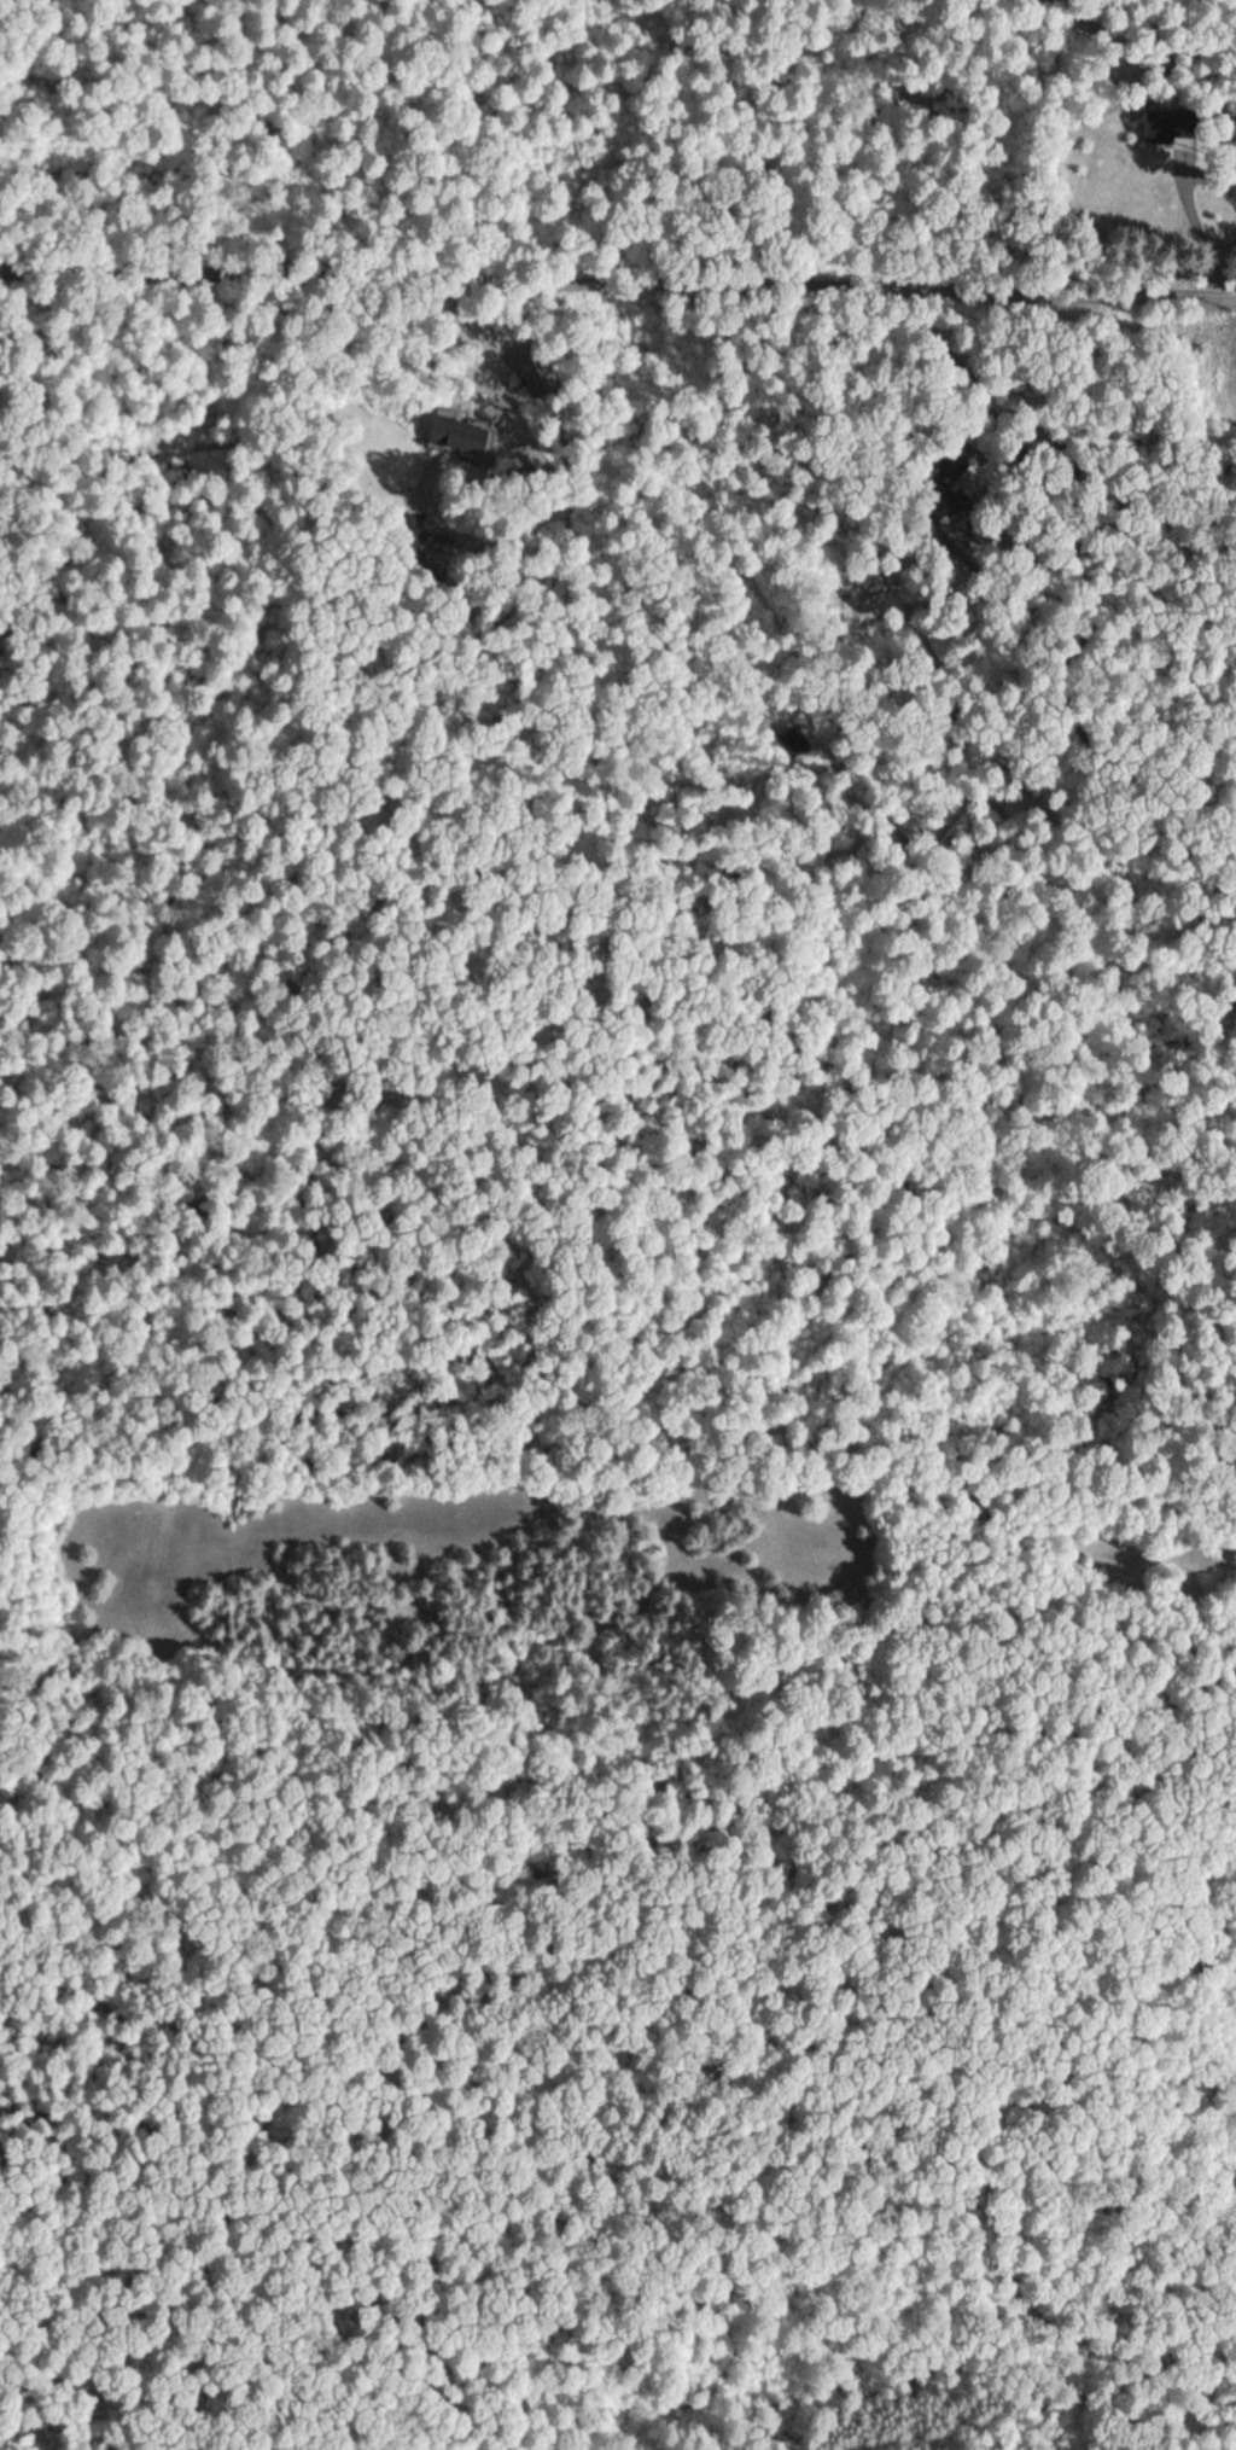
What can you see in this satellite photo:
building: (1161, 122)
road: (618, 289)
building: (471, 437)

